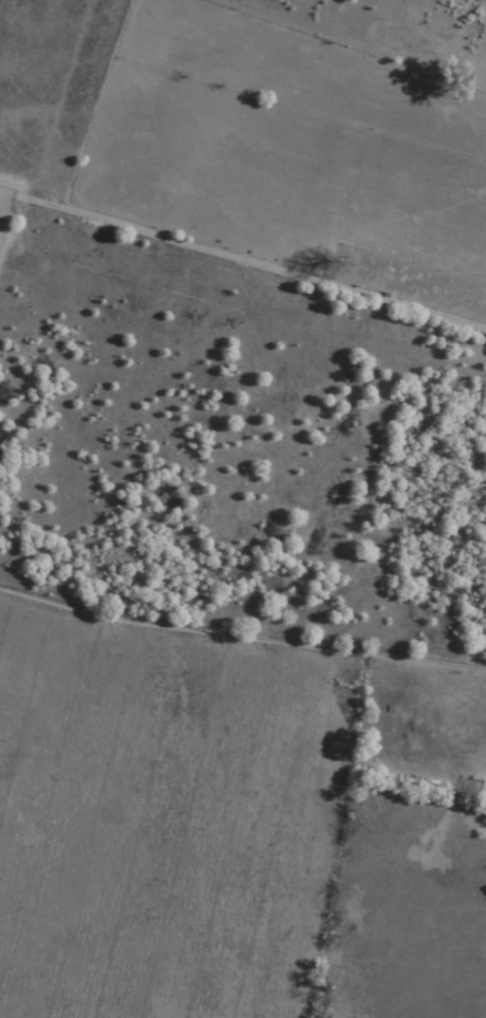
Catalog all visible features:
road: (458, 13)
road: (243, 392)

